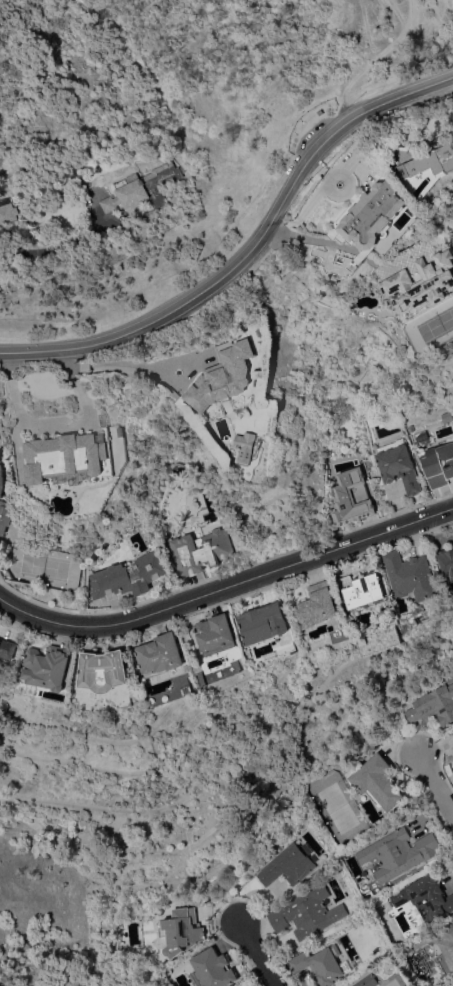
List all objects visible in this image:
building: (433, 168)
building: (143, 191)
building: (8, 212)
building: (367, 226)
road: (313, 237)
road: (38, 242)
road: (250, 252)
building: (422, 286)
building: (260, 310)
road: (125, 366)
building: (226, 377)
building: (447, 416)
road: (53, 419)
building: (250, 446)
building: (67, 456)
building: (438, 465)
building: (399, 466)
building: (353, 498)
building: (3, 503)
building: (50, 546)
building: (204, 550)
building: (179, 562)
building: (446, 562)
building: (412, 576)
building: (129, 577)
road: (226, 590)
building: (363, 591)
building: (317, 606)
building: (264, 625)
building: (216, 635)
building: (364, 641)
building: (9, 649)
building: (161, 656)
building: (49, 668)
building: (105, 671)
building: (434, 705)
building: (452, 733)
building: (377, 782)
road: (437, 784)
building: (399, 854)
building: (289, 865)
building: (427, 898)
building: (308, 913)
building: (182, 932)
building: (439, 944)
road: (260, 954)
building: (322, 965)
building: (214, 969)
building: (367, 981)

